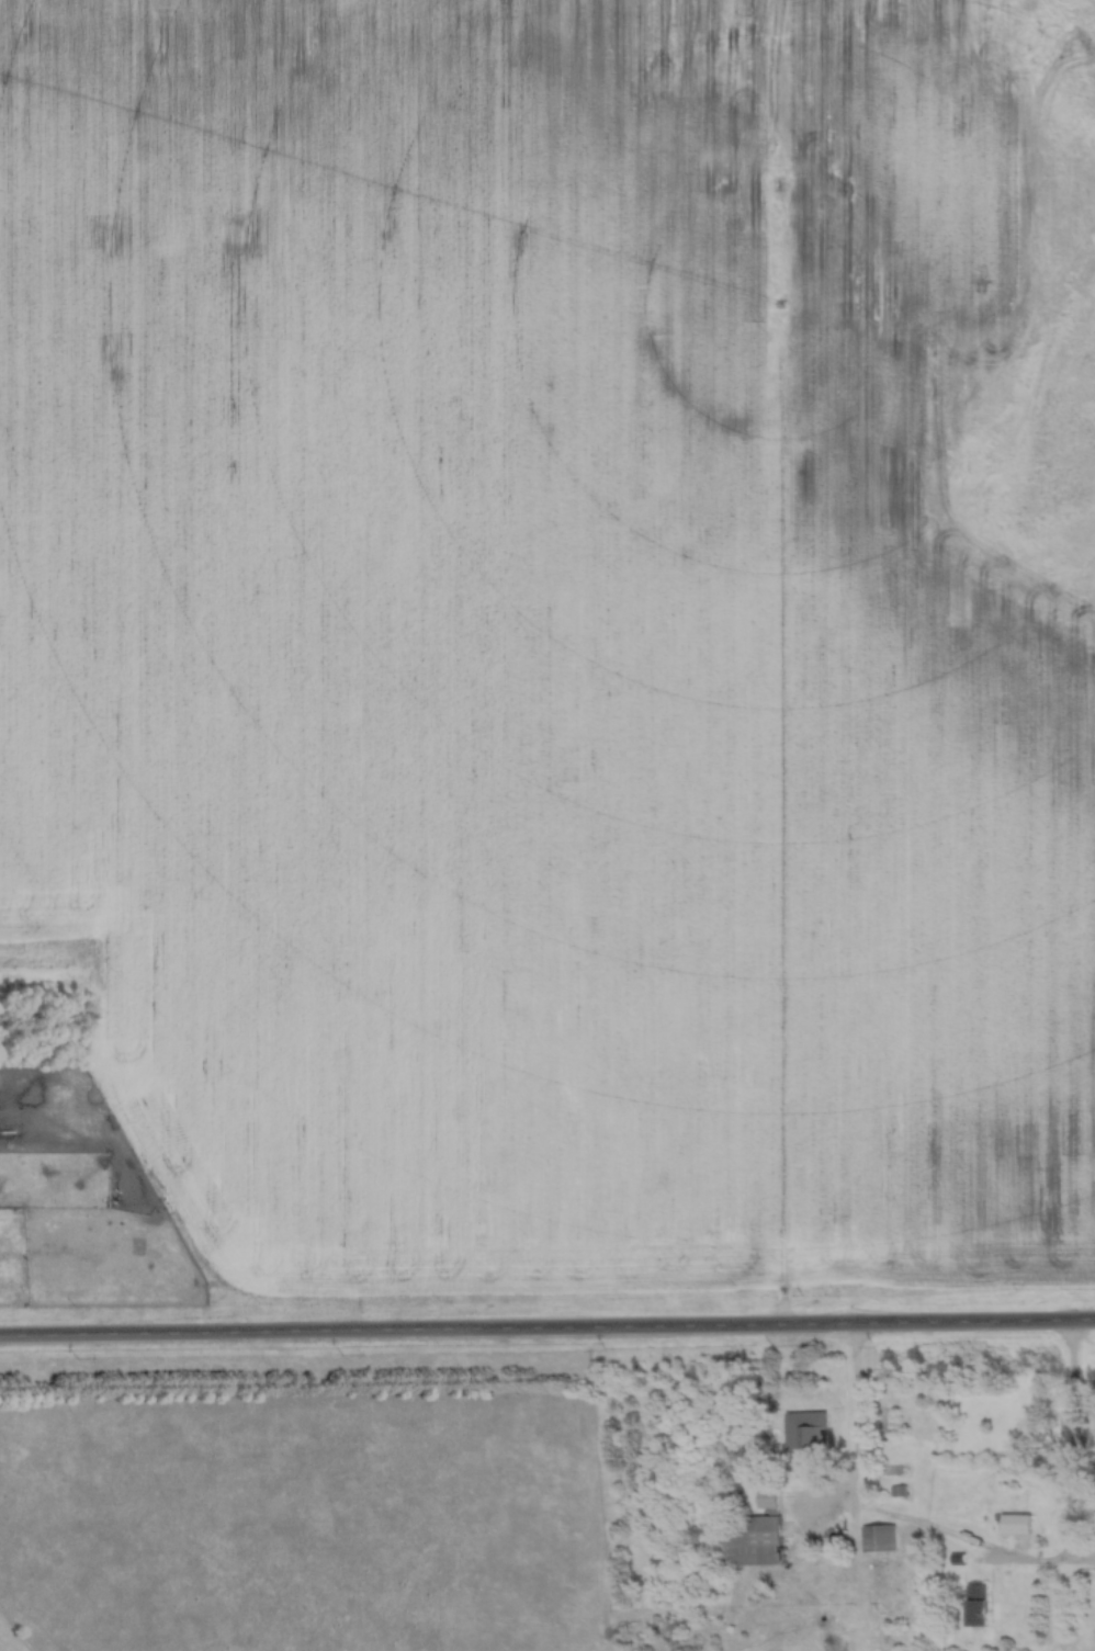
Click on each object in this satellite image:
road: (546, 1325)
building: (806, 1433)
road: (1077, 1446)
building: (768, 1499)
road: (887, 1522)
building: (1018, 1525)
building: (881, 1539)
building: (749, 1541)
building: (978, 1606)
airport: (13, 1635)

